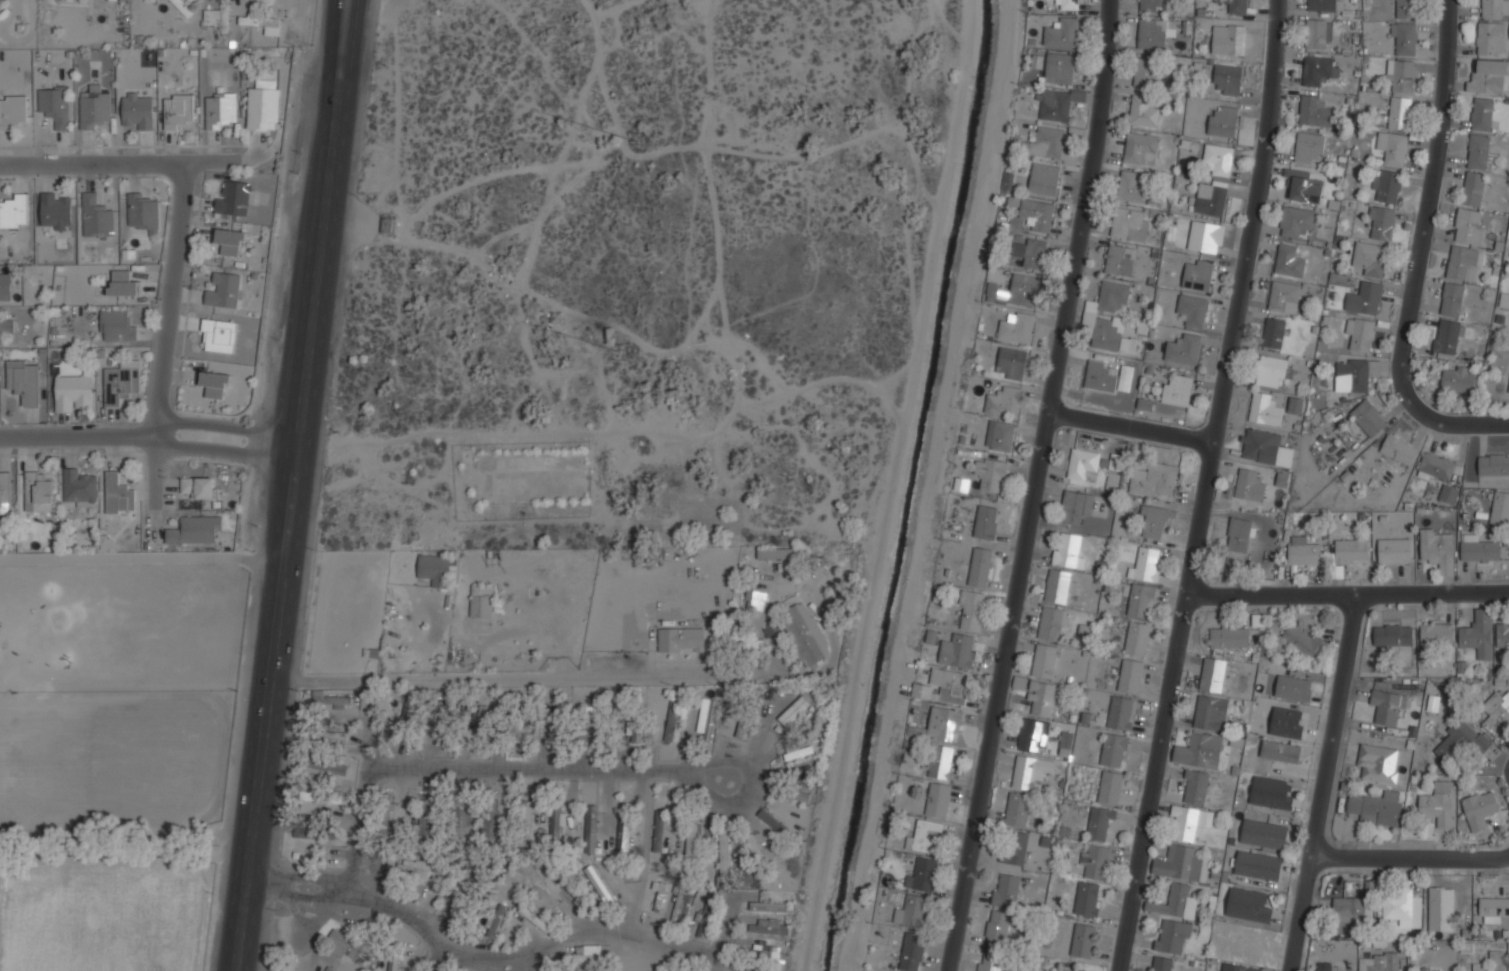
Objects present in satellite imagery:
building: (67, 0)
building: (1, 2)
building: (1069, 4)
building: (1155, 5)
building: (1321, 5)
building: (1234, 6)
building: (183, 7)
building: (1405, 9)
building: (1494, 9)
building: (211, 17)
building: (259, 20)
building: (1062, 32)
building: (1151, 33)
building: (1318, 33)
building: (1405, 38)
building: (1490, 39)
building: (1230, 40)
building: (1061, 68)
building: (1318, 70)
building: (1146, 72)
building: (1401, 76)
building: (1488, 76)
building: (1227, 78)
building: (54, 104)
building: (263, 105)
building: (1055, 106)
building: (93, 108)
building: (219, 109)
building: (137, 110)
building: (1144, 110)
building: (11, 111)
building: (177, 111)
building: (1399, 111)
building: (1314, 112)
building: (1482, 115)
building: (1222, 121)
building: (1046, 143)
building: (1308, 146)
building: (1392, 147)
building: (1141, 149)
building: (1478, 152)
building: (1219, 159)
road: (119, 165)
building: (1044, 179)
building: (1387, 185)
building: (1304, 186)
building: (1131, 188)
building: (1472, 188)
building: (1209, 198)
building: (233, 199)
building: (14, 211)
building: (54, 211)
building: (143, 211)
building: (1036, 214)
building: (96, 215)
building: (1295, 222)
building: (1381, 223)
building: (386, 224)
building: (1130, 225)
building: (1468, 226)
building: (1205, 236)
building: (230, 241)
road: (1419, 250)
building: (1035, 252)
building: (1369, 258)
building: (1288, 260)
building: (1118, 262)
building: (1462, 263)
building: (1198, 274)
building: (122, 283)
building: (5, 287)
building: (223, 289)
building: (1023, 290)
building: (1284, 296)
building: (1364, 297)
building: (1113, 298)
building: (1451, 298)
road: (169, 299)
building: (1504, 300)
building: (1192, 307)
building: (116, 325)
building: (5, 327)
building: (1017, 329)
building: (1273, 332)
building: (1103, 333)
building: (1360, 333)
building: (218, 335)
building: (1447, 336)
building: (1127, 344)
building: (626, 345)
building: (1183, 349)
building: (1012, 363)
building: (1272, 369)
building: (1355, 373)
building: (1099, 376)
building: (1125, 378)
building: (1458, 379)
building: (121, 382)
building: (23, 383)
building: (214, 383)
building: (1178, 390)
building: (1508, 392)
building: (73, 393)
building: (1004, 401)
building: (1144, 404)
building: (1295, 404)
building: (1265, 409)
building: (1368, 417)
road: (228, 427)
road: (1133, 427)
road: (81, 436)
building: (1003, 436)
building: (1264, 448)
building: (1397, 449)
road: (226, 451)
building: (1084, 464)
building: (1493, 464)
building: (1436, 466)
parking lot: (538, 471)
building: (991, 474)
building: (1281, 479)
building: (1154, 480)
road: (292, 485)
road: (1204, 485)
building: (79, 486)
road: (1043, 486)
building: (1249, 486)
building: (197, 487)
building: (38, 492)
building: (4, 493)
building: (118, 494)
building: (1076, 506)
building: (1500, 508)
building: (986, 521)
building: (1153, 521)
building: (194, 531)
building: (1239, 534)
building: (1437, 547)
building: (1394, 550)
building: (1480, 550)
building: (1069, 551)
building: (1351, 551)
building: (774, 552)
building: (1303, 552)
road: (142, 557)
building: (1146, 564)
building: (980, 567)
building: (443, 568)
building: (1057, 586)
road: (1349, 597)
building: (1141, 600)
building: (481, 601)
building: (972, 611)
building: (1053, 622)
building: (790, 626)
building: (1478, 633)
building: (1437, 634)
building: (1393, 635)
building: (1502, 636)
building: (930, 637)
building: (1229, 637)
building: (1136, 638)
building: (681, 640)
building: (1304, 642)
building: (957, 651)
building: (1044, 661)
building: (1130, 675)
building: (1212, 675)
road: (526, 678)
building: (949, 685)
building: (1293, 687)
building: (1042, 697)
building: (331, 701)
building: (1387, 707)
building: (410, 708)
building: (794, 711)
building: (1121, 712)
building: (1210, 713)
building: (1496, 713)
building: (485, 714)
building: (566, 717)
building: (447, 718)
building: (602, 718)
building: (708, 719)
building: (671, 720)
building: (1286, 723)
building: (944, 724)
building: (514, 727)
building: (634, 731)
building: (543, 732)
building: (329, 734)
building: (1034, 735)
building: (1461, 740)
building: (1065, 743)
building: (1114, 750)
building: (1199, 750)
building: (1281, 750)
building: (797, 753)
building: (941, 762)
building: (1379, 762)
building: (325, 765)
road: (485, 766)
building: (1025, 772)
road: (1326, 784)
building: (1195, 786)
building: (1110, 787)
building: (1271, 792)
building: (937, 800)
building: (1437, 801)
building: (1377, 808)
building: (1479, 808)
building: (1017, 809)
building: (525, 815)
building: (458, 816)
building: (427, 817)
building: (490, 817)
building: (774, 819)
building: (555, 820)
building: (1190, 821)
building: (1100, 823)
building: (624, 826)
building: (591, 828)
building: (659, 831)
building: (924, 834)
building: (1264, 834)
building: (691, 839)
building: (754, 845)
building: (1014, 847)
building: (724, 852)
road: (1411, 859)
building: (1096, 862)
building: (1179, 863)
building: (1257, 865)
building: (416, 870)
building: (921, 876)
building: (600, 886)
building: (1007, 891)
building: (574, 892)
building: (659, 896)
building: (1088, 899)
building: (1172, 901)
building: (1248, 904)
building: (769, 906)
building: (681, 909)
building: (1403, 909)
building: (1441, 909)
building: (1493, 909)
building: (911, 912)
building: (705, 913)
crop: (106, 914)
building: (1348, 916)
building: (534, 918)
building: (495, 920)
building: (769, 927)
building: (997, 929)
building: (1172, 936)
building: (1083, 939)
building: (344, 945)
building: (911, 951)
building: (759, 954)
road: (482, 955)
building: (584, 955)
road: (437, 958)
building: (393, 961)
building: (1381, 962)
building: (1491, 962)
building: (993, 963)
building: (1161, 963)
building: (1324, 966)
building: (1239, 967)
building: (1426, 969)
building: (673, 970)
building: (746, 970)

